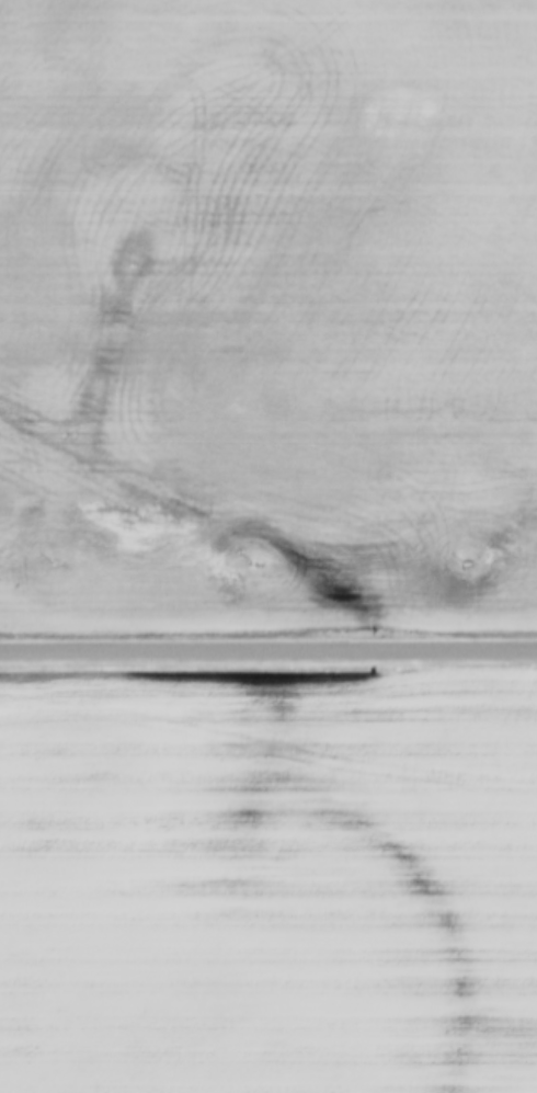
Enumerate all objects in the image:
road: (268, 650)

